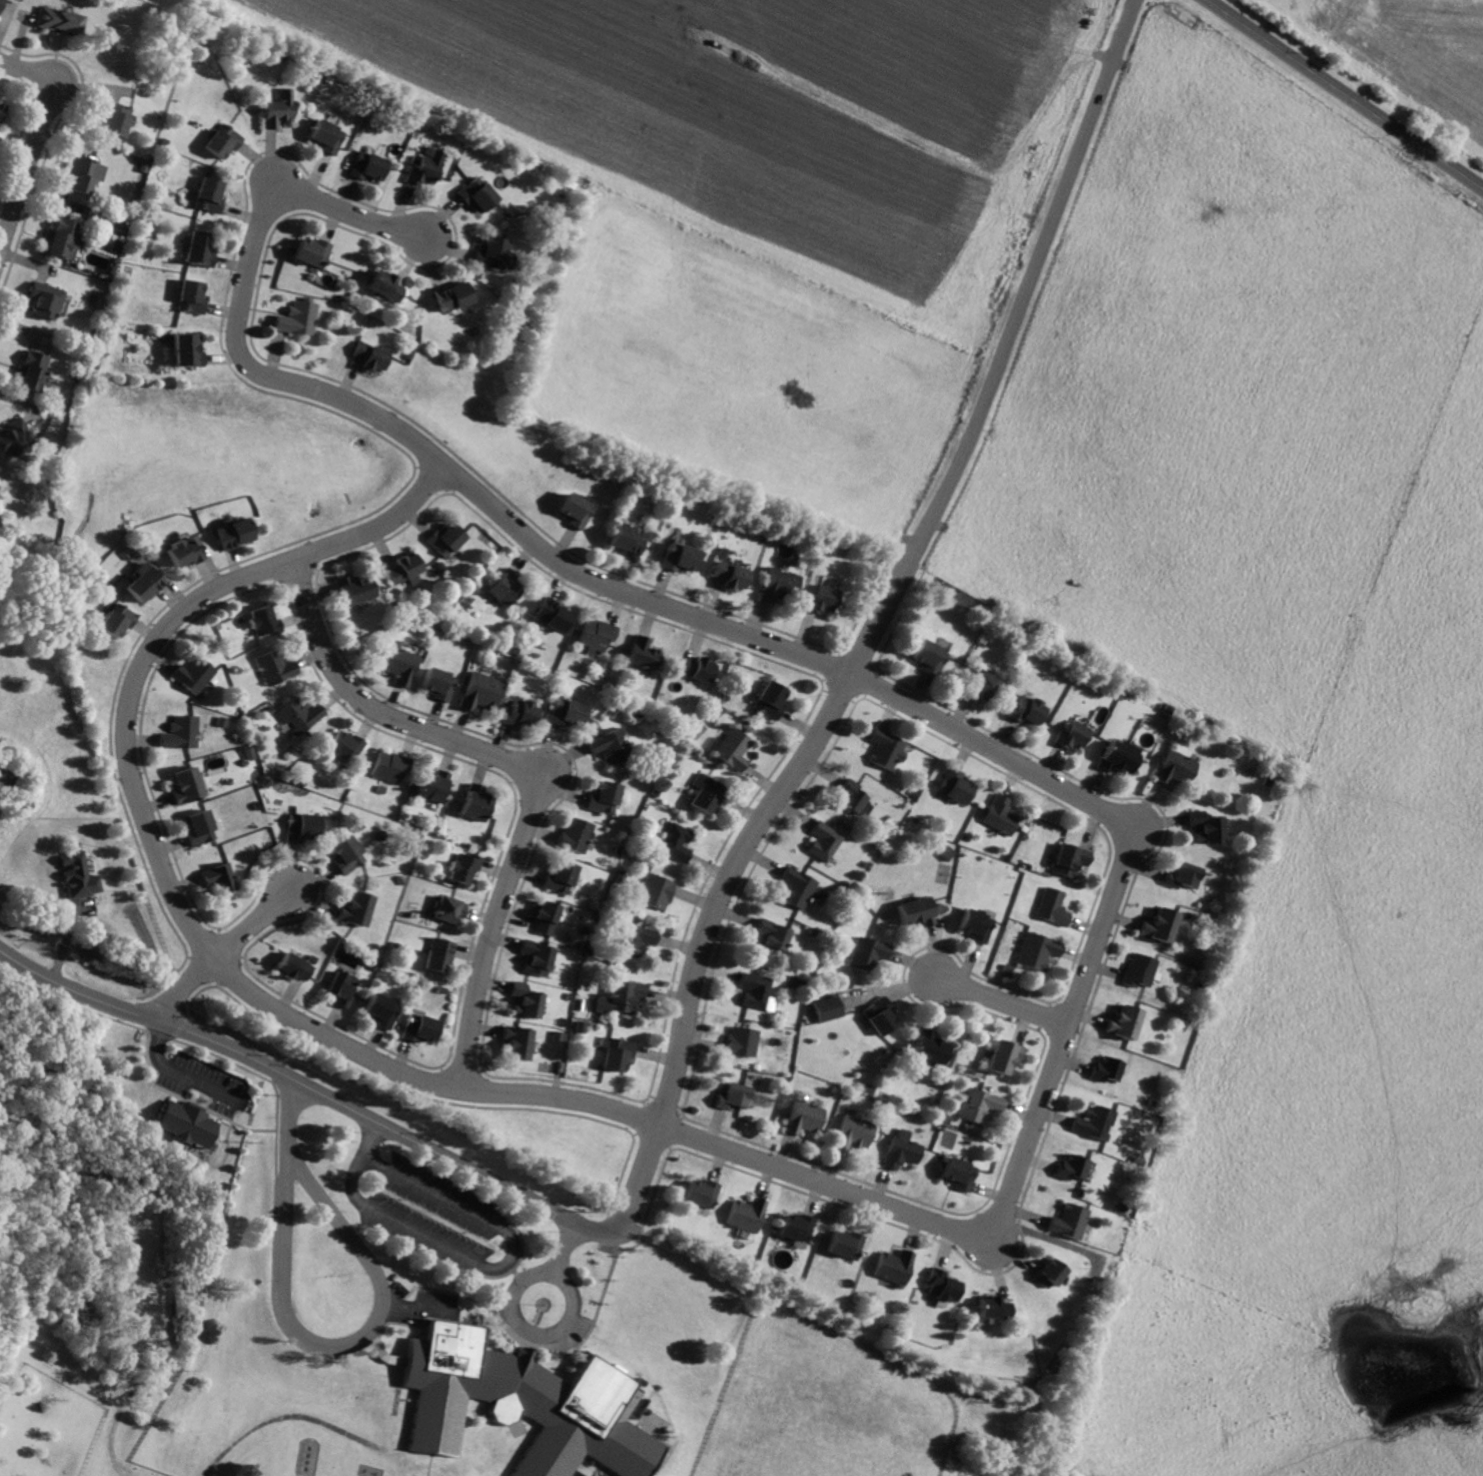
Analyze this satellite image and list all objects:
building: (2, 5)
building: (63, 20)
road: (1345, 94)
building: (281, 109)
building: (2, 111)
building: (116, 121)
building: (329, 137)
road: (39, 140)
building: (225, 141)
building: (371, 167)
building: (429, 167)
building: (84, 174)
building: (211, 195)
building: (481, 195)
building: (62, 240)
building: (201, 250)
building: (314, 252)
building: (493, 252)
building: (387, 286)
building: (193, 297)
building: (455, 297)
building: (45, 301)
building: (301, 318)
building: (189, 350)
building: (373, 357)
building: (32, 371)
road: (408, 435)
building: (14, 438)
building: (576, 509)
building: (234, 532)
building: (447, 538)
building: (628, 539)
building: (184, 550)
building: (680, 556)
building: (407, 569)
building: (730, 571)
building: (144, 581)
building: (778, 584)
building: (506, 586)
building: (355, 588)
building: (824, 599)
building: (963, 599)
building: (554, 614)
building: (117, 620)
building: (265, 620)
road: (876, 622)
building: (597, 635)
building: (644, 653)
building: (930, 656)
building: (401, 665)
building: (277, 666)
building: (698, 668)
building: (194, 674)
building: (439, 683)
building: (983, 685)
building: (481, 690)
building: (771, 698)
building: (1028, 710)
building: (521, 712)
building: (570, 712)
building: (302, 715)
building: (182, 732)
building: (1075, 736)
building: (346, 744)
building: (611, 745)
building: (733, 748)
building: (886, 748)
building: (250, 753)
building: (1121, 756)
building: (1178, 765)
building: (392, 766)
road: (531, 768)
building: (435, 784)
building: (188, 785)
building: (956, 787)
building: (706, 793)
building: (852, 795)
building: (607, 796)
building: (477, 802)
building: (1001, 815)
building: (203, 827)
building: (303, 827)
building: (1209, 827)
building: (577, 834)
building: (825, 841)
building: (678, 842)
building: (348, 853)
building: (946, 853)
building: (1071, 859)
building: (464, 866)
road: (164, 871)
building: (80, 875)
building: (1186, 875)
building: (221, 877)
building: (561, 877)
building: (801, 888)
building: (658, 891)
building: (1054, 906)
building: (358, 908)
building: (450, 909)
building: (916, 911)
building: (548, 917)
building: (977, 923)
building: (1164, 924)
building: (774, 937)
building: (637, 939)
building: (1039, 950)
road: (222, 953)
building: (868, 953)
building: (440, 954)
building: (538, 957)
building: (296, 966)
building: (1142, 969)
building: (342, 988)
building: (759, 991)
building: (624, 996)
road: (999, 1000)
building: (527, 1001)
road: (72, 1003)
building: (829, 1008)
building: (381, 1010)
building: (882, 1016)
building: (1127, 1022)
building: (421, 1028)
road: (162, 1035)
building: (560, 1036)
building: (519, 1041)
building: (744, 1041)
road: (1061, 1047)
building: (931, 1050)
building: (619, 1054)
building: (1006, 1056)
building: (1108, 1069)
road: (182, 1074)
road: (306, 1085)
building: (734, 1095)
building: (980, 1105)
building: (806, 1117)
building: (1096, 1122)
building: (189, 1124)
building: (855, 1134)
building: (903, 1149)
building: (1073, 1167)
building: (961, 1173)
road: (277, 1186)
building: (703, 1193)
building: (749, 1214)
building: (1070, 1221)
building: (799, 1227)
building: (848, 1245)
road: (568, 1248)
road: (484, 1263)
building: (895, 1266)
building: (1051, 1273)
building: (943, 1287)
building: (994, 1308)
road: (420, 1309)
road: (515, 1314)
road: (396, 1322)
road: (310, 1339)
road: (362, 1348)
building: (523, 1404)
road: (283, 1417)
road: (430, 1464)

